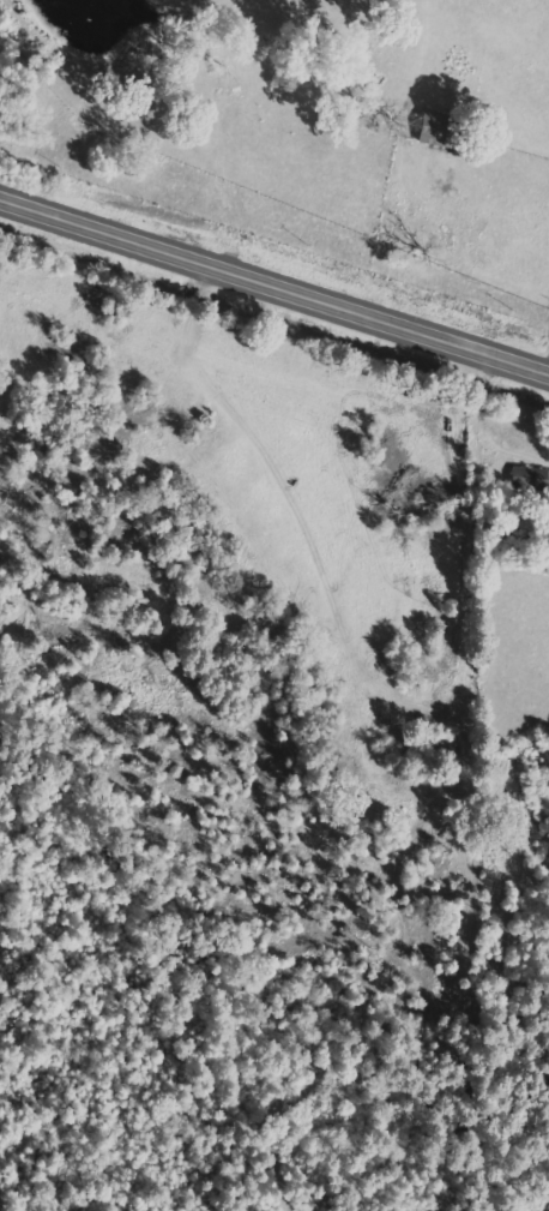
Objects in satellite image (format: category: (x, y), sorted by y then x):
building: (432, 130)
road: (274, 271)
building: (523, 479)
road: (501, 1147)

